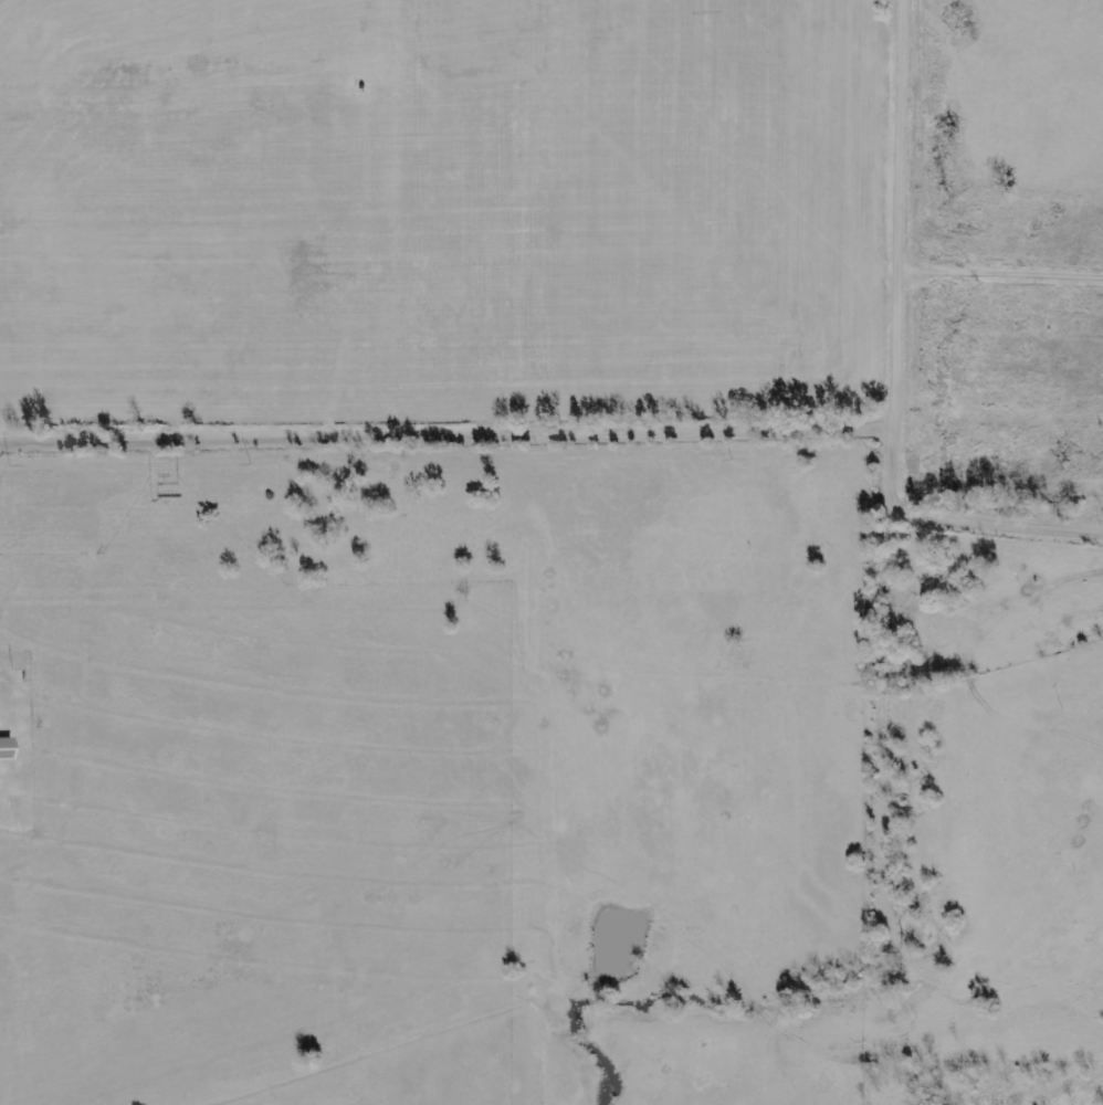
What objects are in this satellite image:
road: (904, 228)
road: (586, 435)
building: (8, 749)

